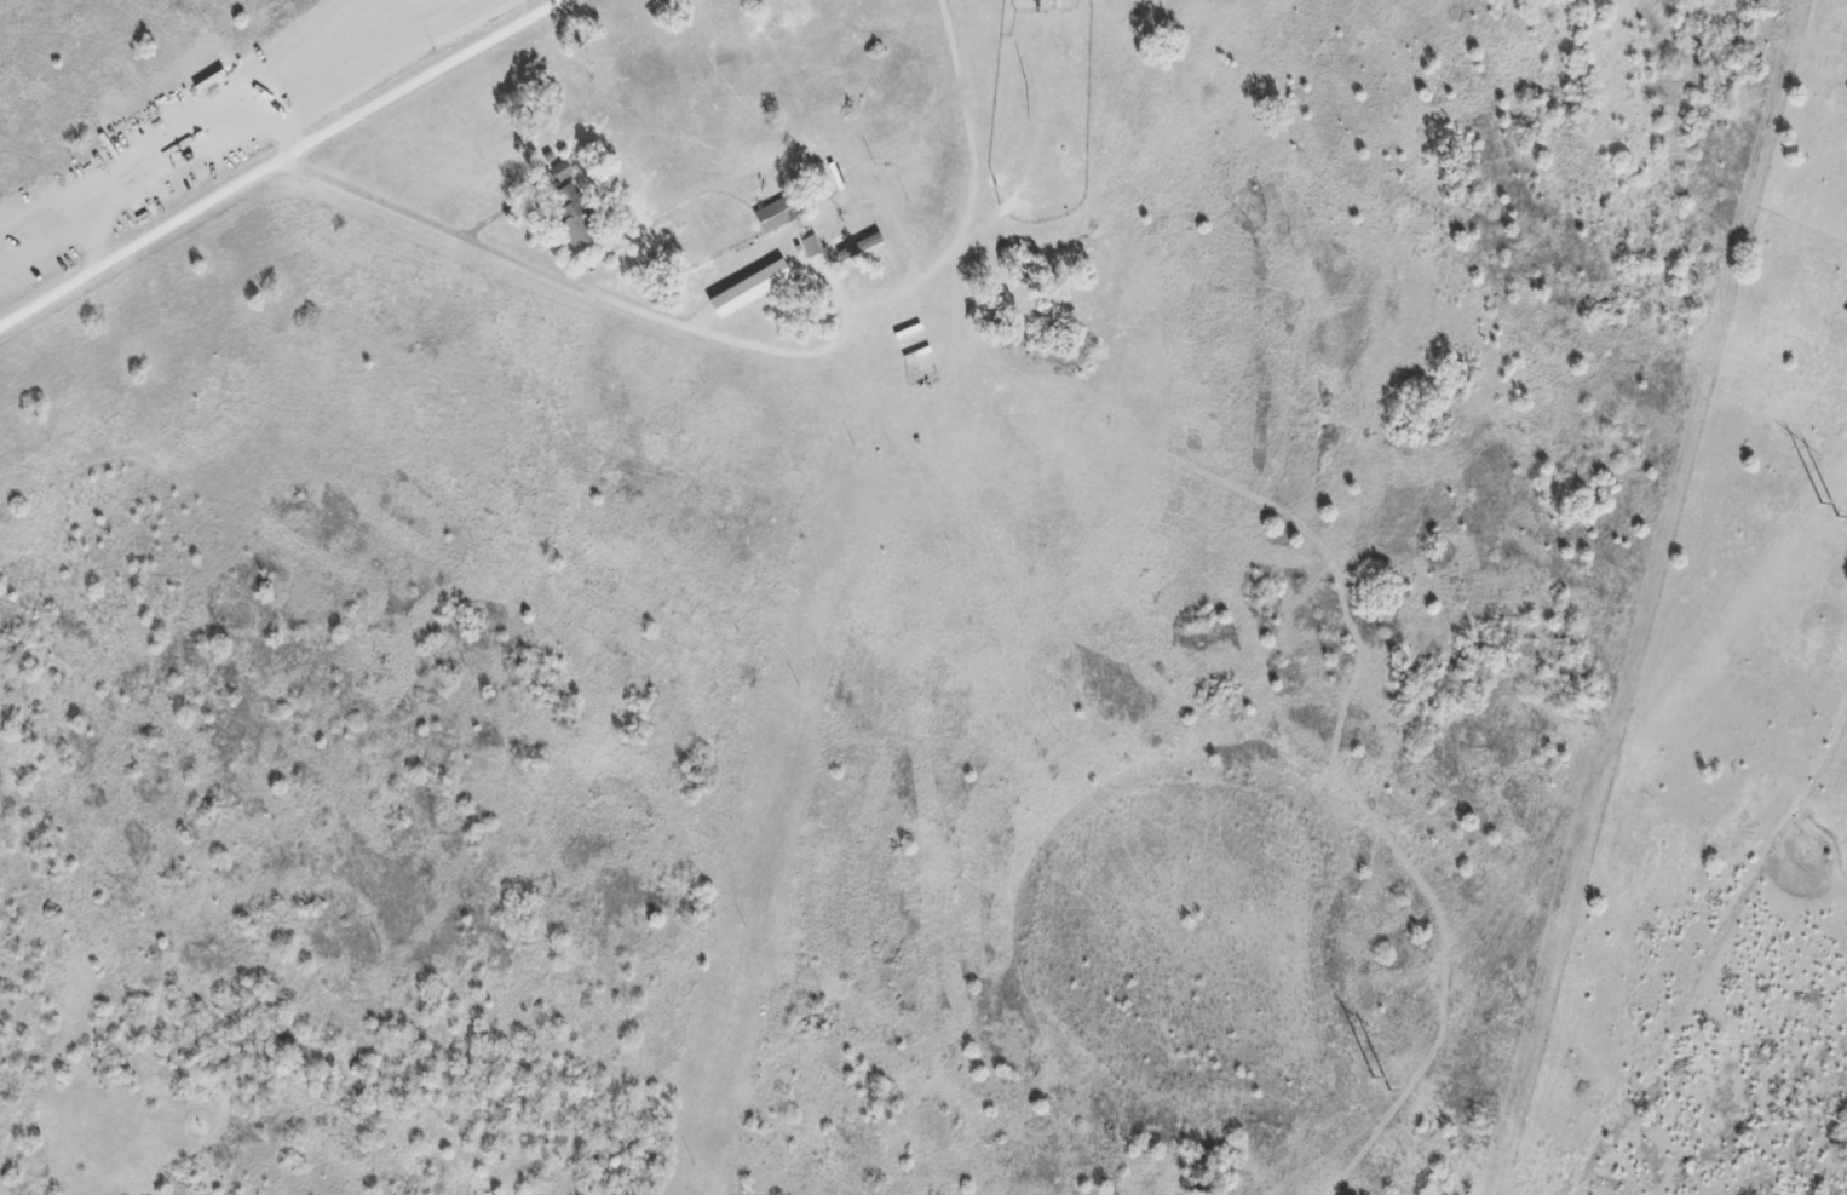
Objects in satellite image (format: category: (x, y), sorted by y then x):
building: (779, 140)
building: (553, 151)
road: (281, 165)
building: (565, 167)
building: (853, 167)
building: (839, 172)
building: (773, 208)
building: (583, 219)
building: (816, 243)
building: (858, 249)
building: (749, 291)
building: (911, 328)
power tower: (1837, 505)
power tower: (1391, 1078)

